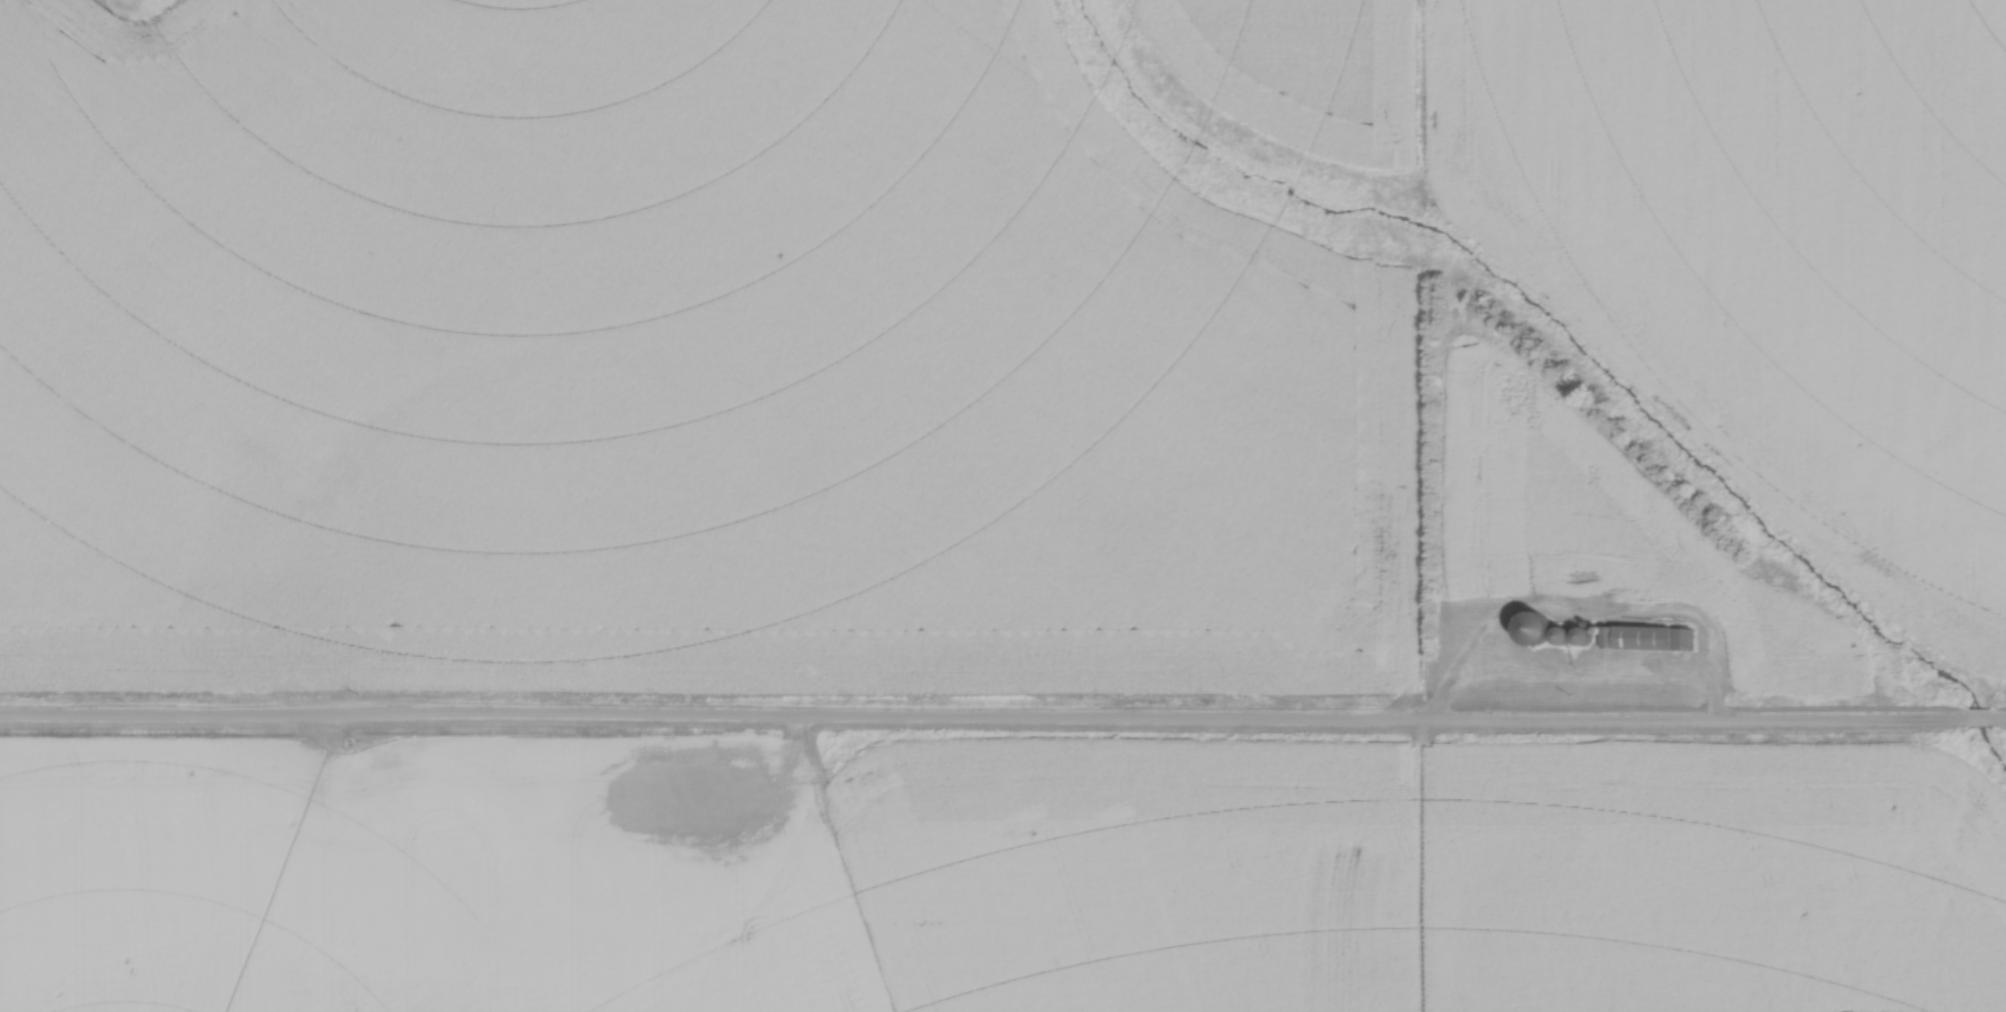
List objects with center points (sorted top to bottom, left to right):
building: (1534, 627)
building: (1560, 635)
building: (1583, 636)
building: (1645, 646)
road: (1003, 723)

